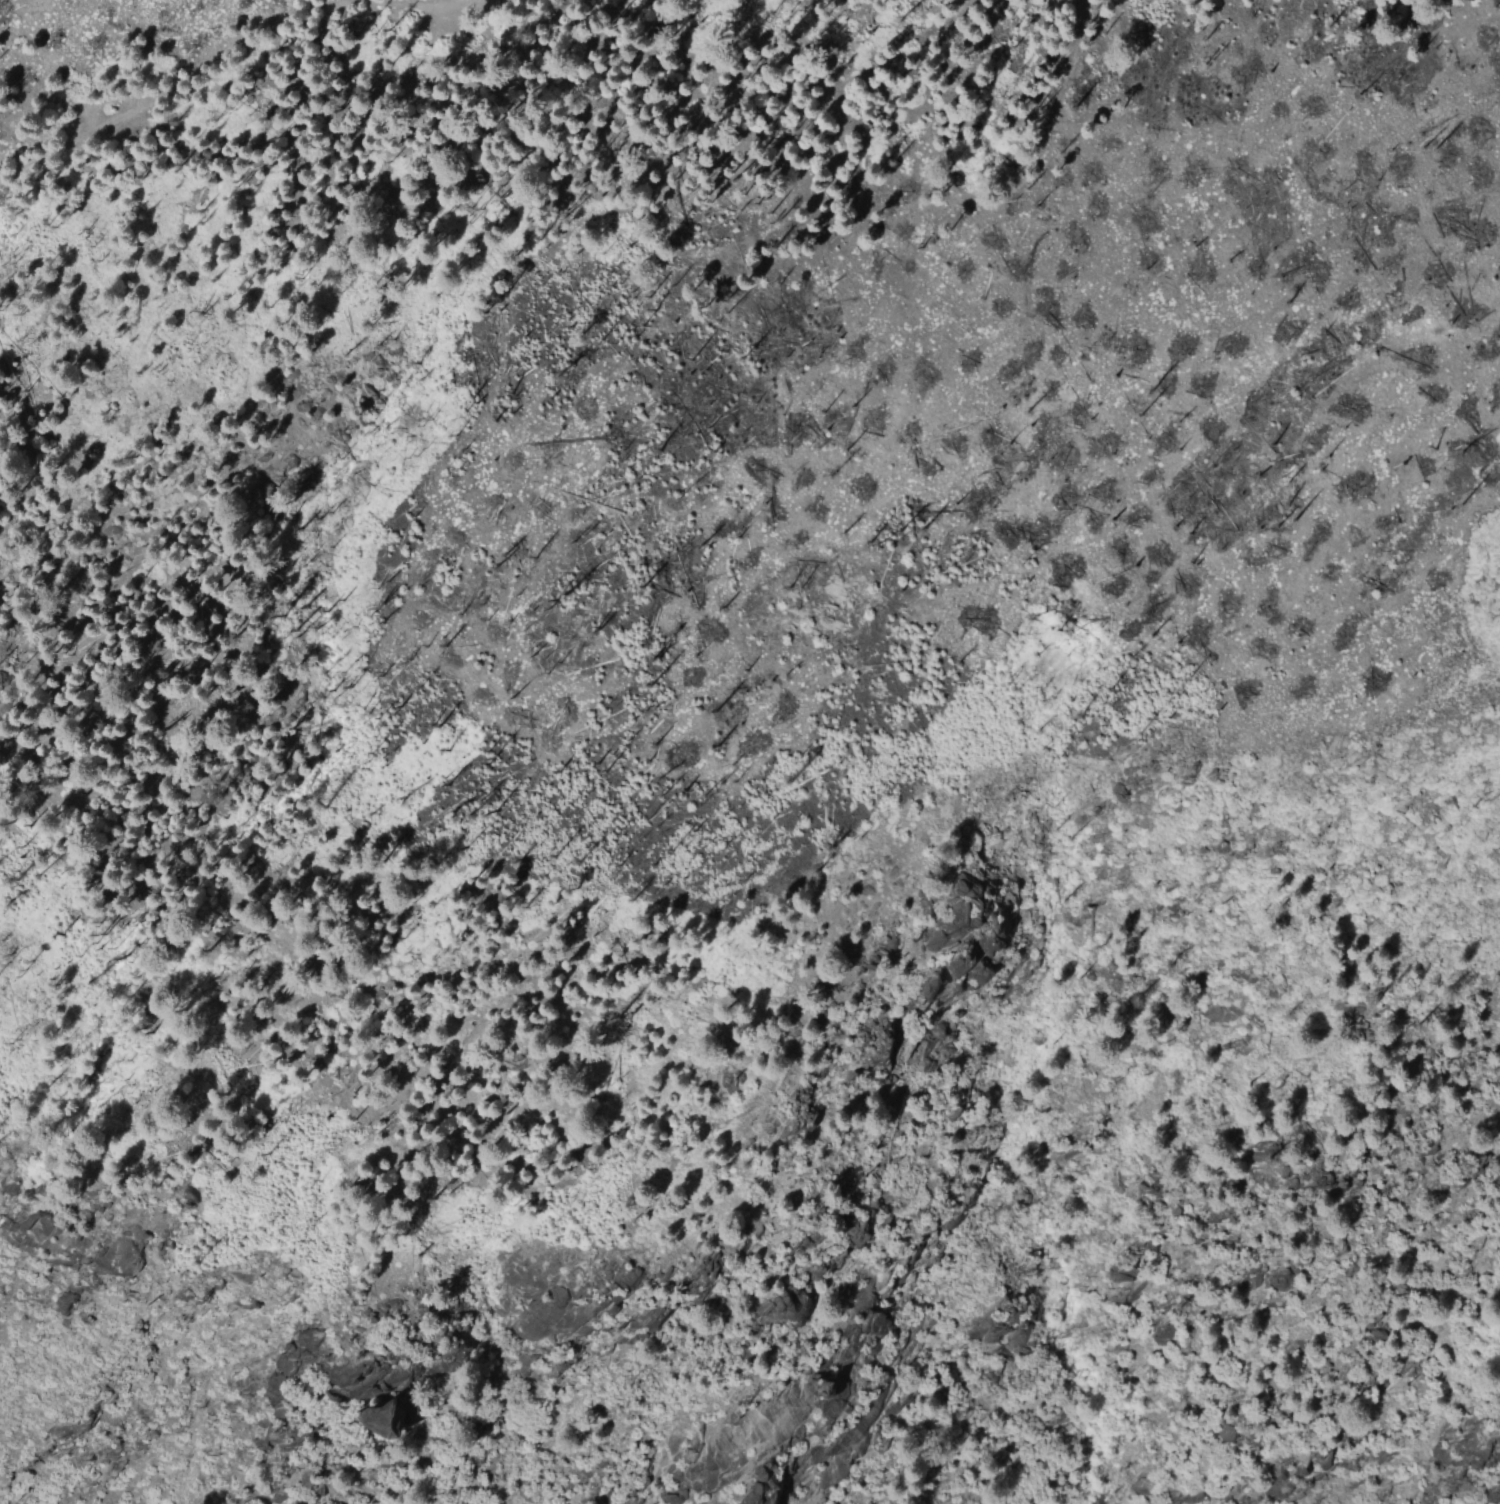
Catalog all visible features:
road: (228, 60)

